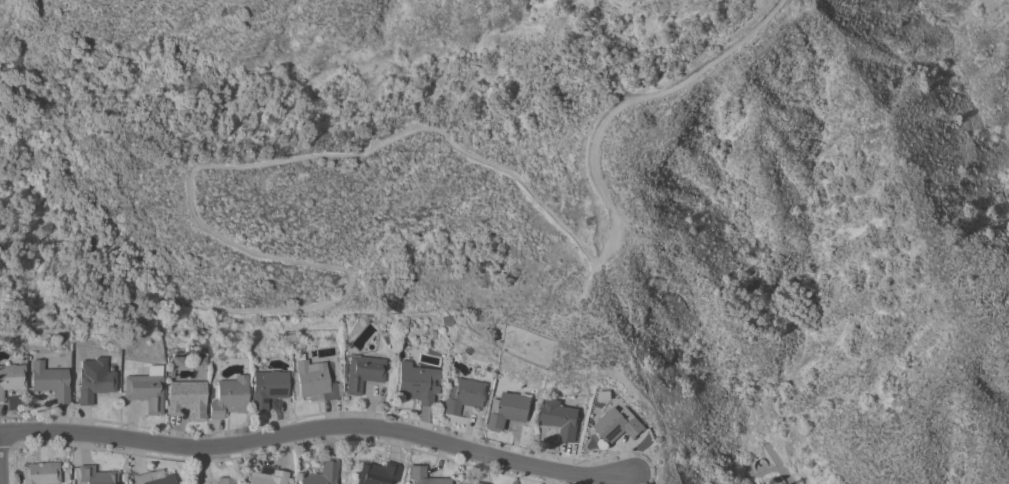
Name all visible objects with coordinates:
road: (634, 101)
road: (219, 233)
building: (362, 372)
building: (11, 378)
building: (93, 379)
road: (643, 379)
building: (49, 381)
building: (314, 382)
building: (416, 383)
building: (266, 388)
building: (144, 389)
building: (462, 395)
building: (227, 397)
building: (186, 399)
building: (507, 410)
building: (559, 418)
building: (617, 424)
road: (318, 431)
building: (40, 473)
building: (377, 473)
building: (321, 474)
building: (95, 475)
building: (423, 476)
building: (267, 477)
building: (153, 478)
building: (224, 480)
building: (474, 483)

